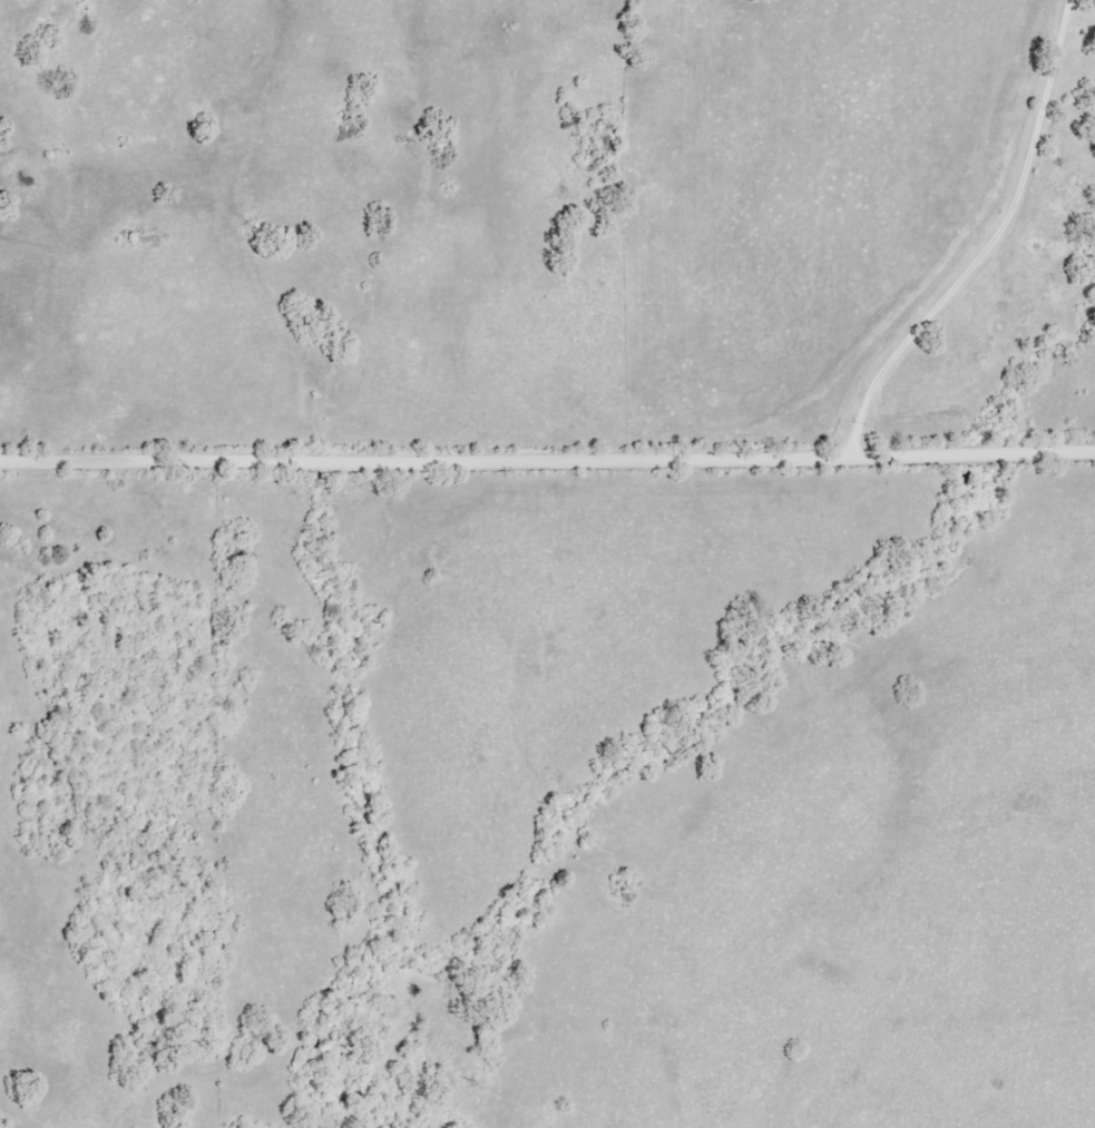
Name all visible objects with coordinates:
road: (547, 462)

